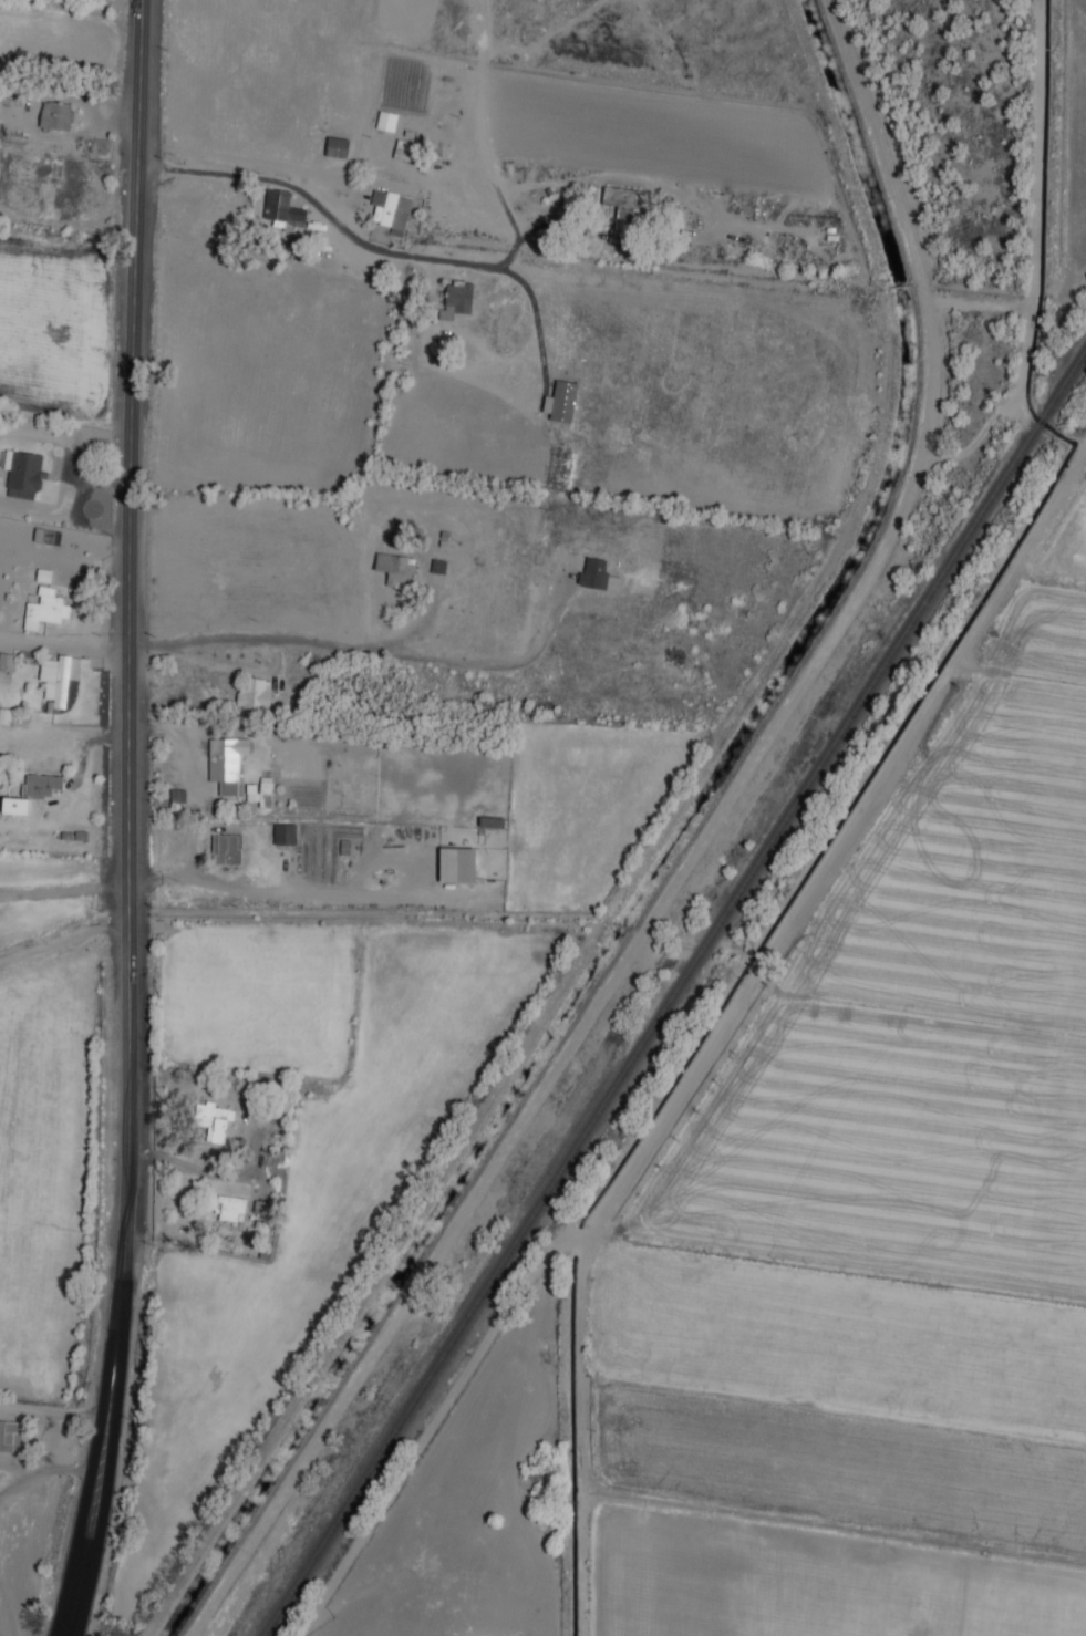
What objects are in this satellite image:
building: (54, 115)
building: (385, 121)
building: (337, 146)
building: (402, 149)
building: (390, 208)
building: (282, 209)
building: (622, 213)
road: (448, 263)
building: (456, 300)
road: (535, 308)
railway: (1064, 381)
railway: (1040, 420)
building: (22, 473)
building: (395, 569)
building: (43, 574)
building: (597, 576)
building: (43, 608)
road: (66, 646)
road: (370, 652)
building: (6, 661)
building: (60, 676)
building: (252, 694)
building: (4, 715)
building: (226, 763)
building: (265, 791)
building: (31, 793)
road: (135, 820)
building: (283, 833)
building: (226, 849)
building: (456, 864)
road: (68, 891)
road: (66, 939)
railway: (649, 1028)
building: (213, 1120)
building: (230, 1209)
road: (54, 1412)
building: (7, 1435)
road: (18, 1467)
road: (44, 1472)

